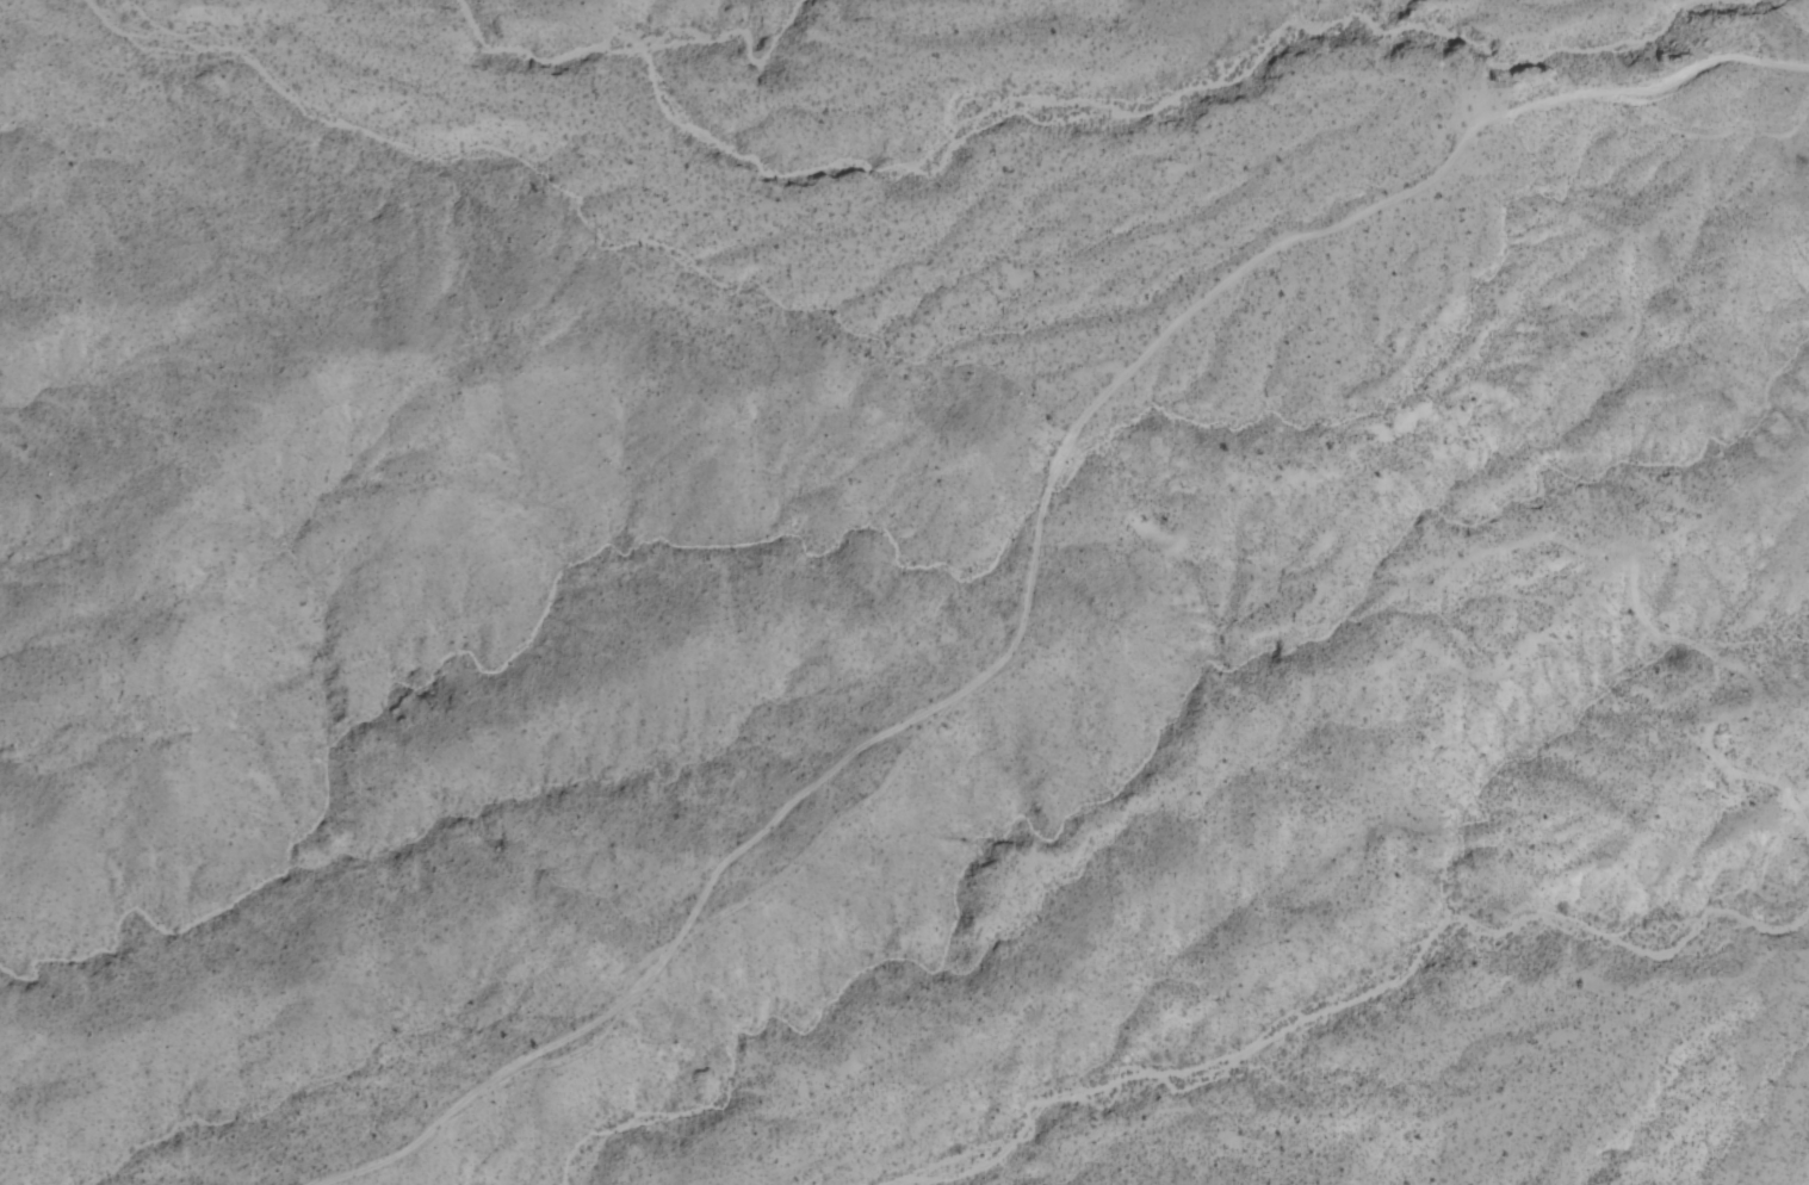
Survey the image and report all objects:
road: (1037, 563)

